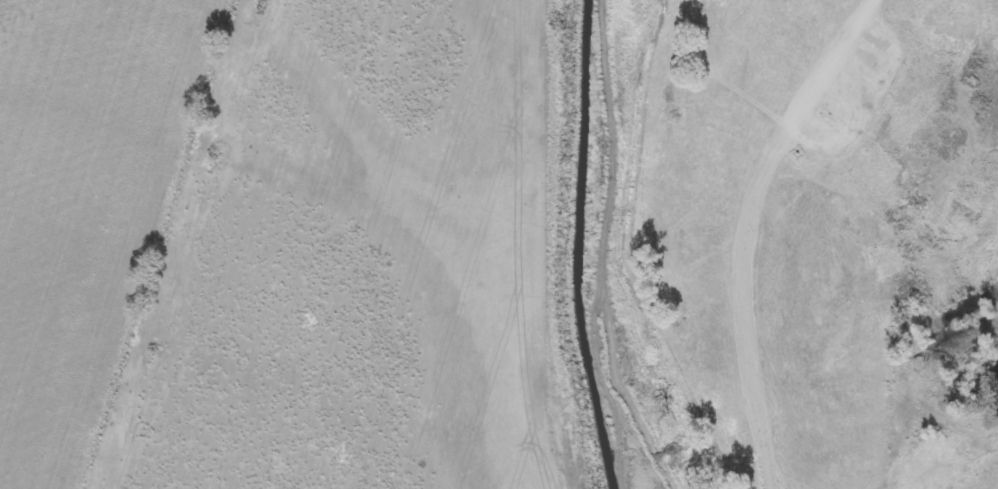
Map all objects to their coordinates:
road: (995, 7)
road: (921, 74)
road: (801, 136)

